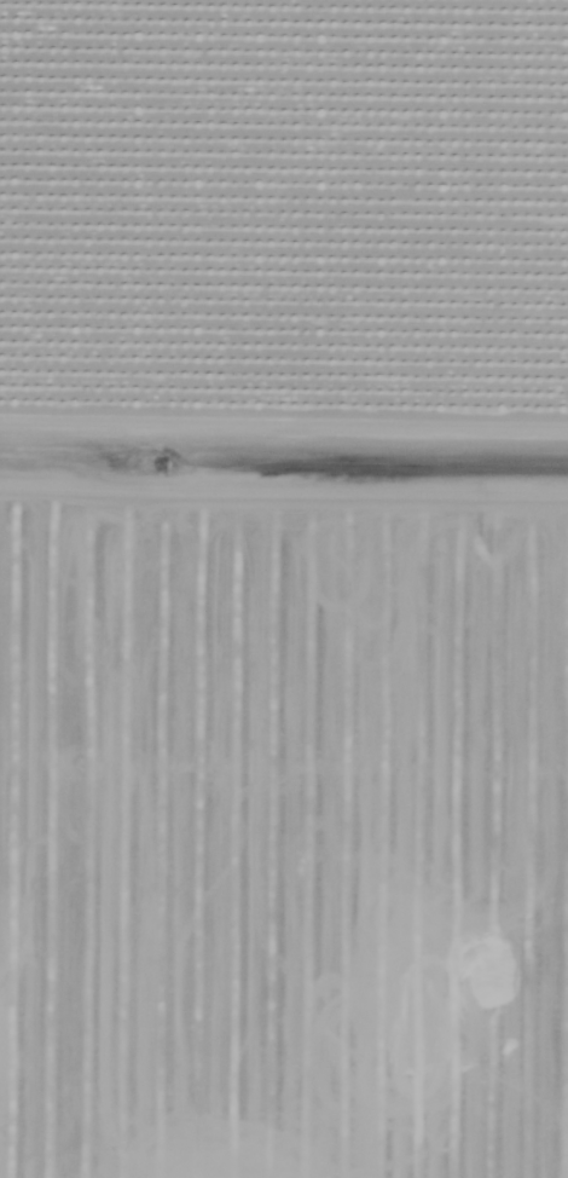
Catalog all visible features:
crop: (285, 185)

